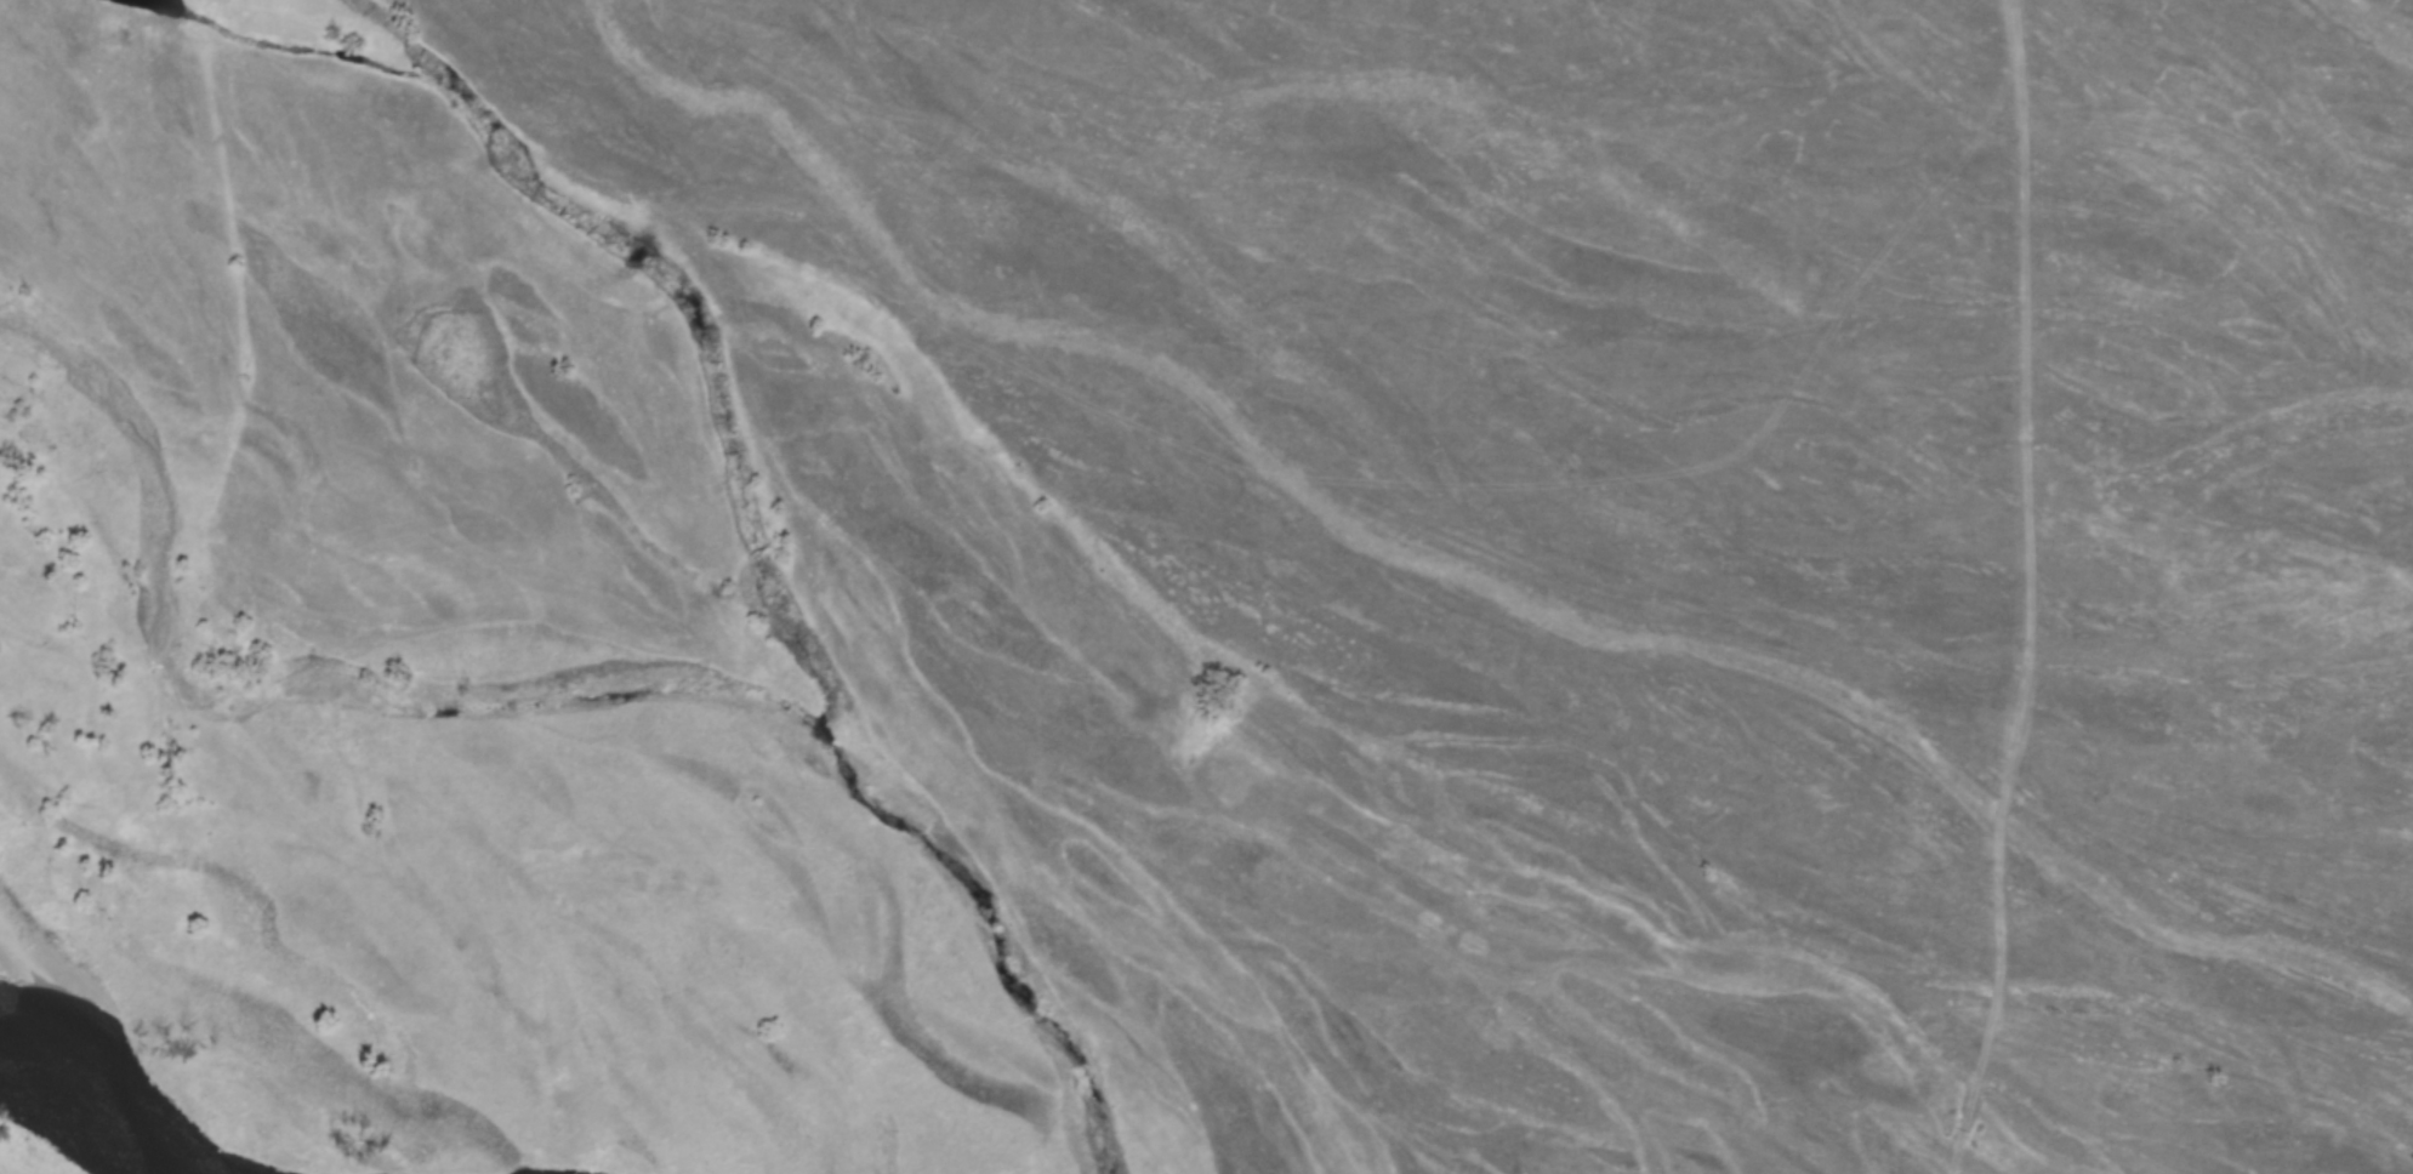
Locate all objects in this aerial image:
river: (76, 1123)

